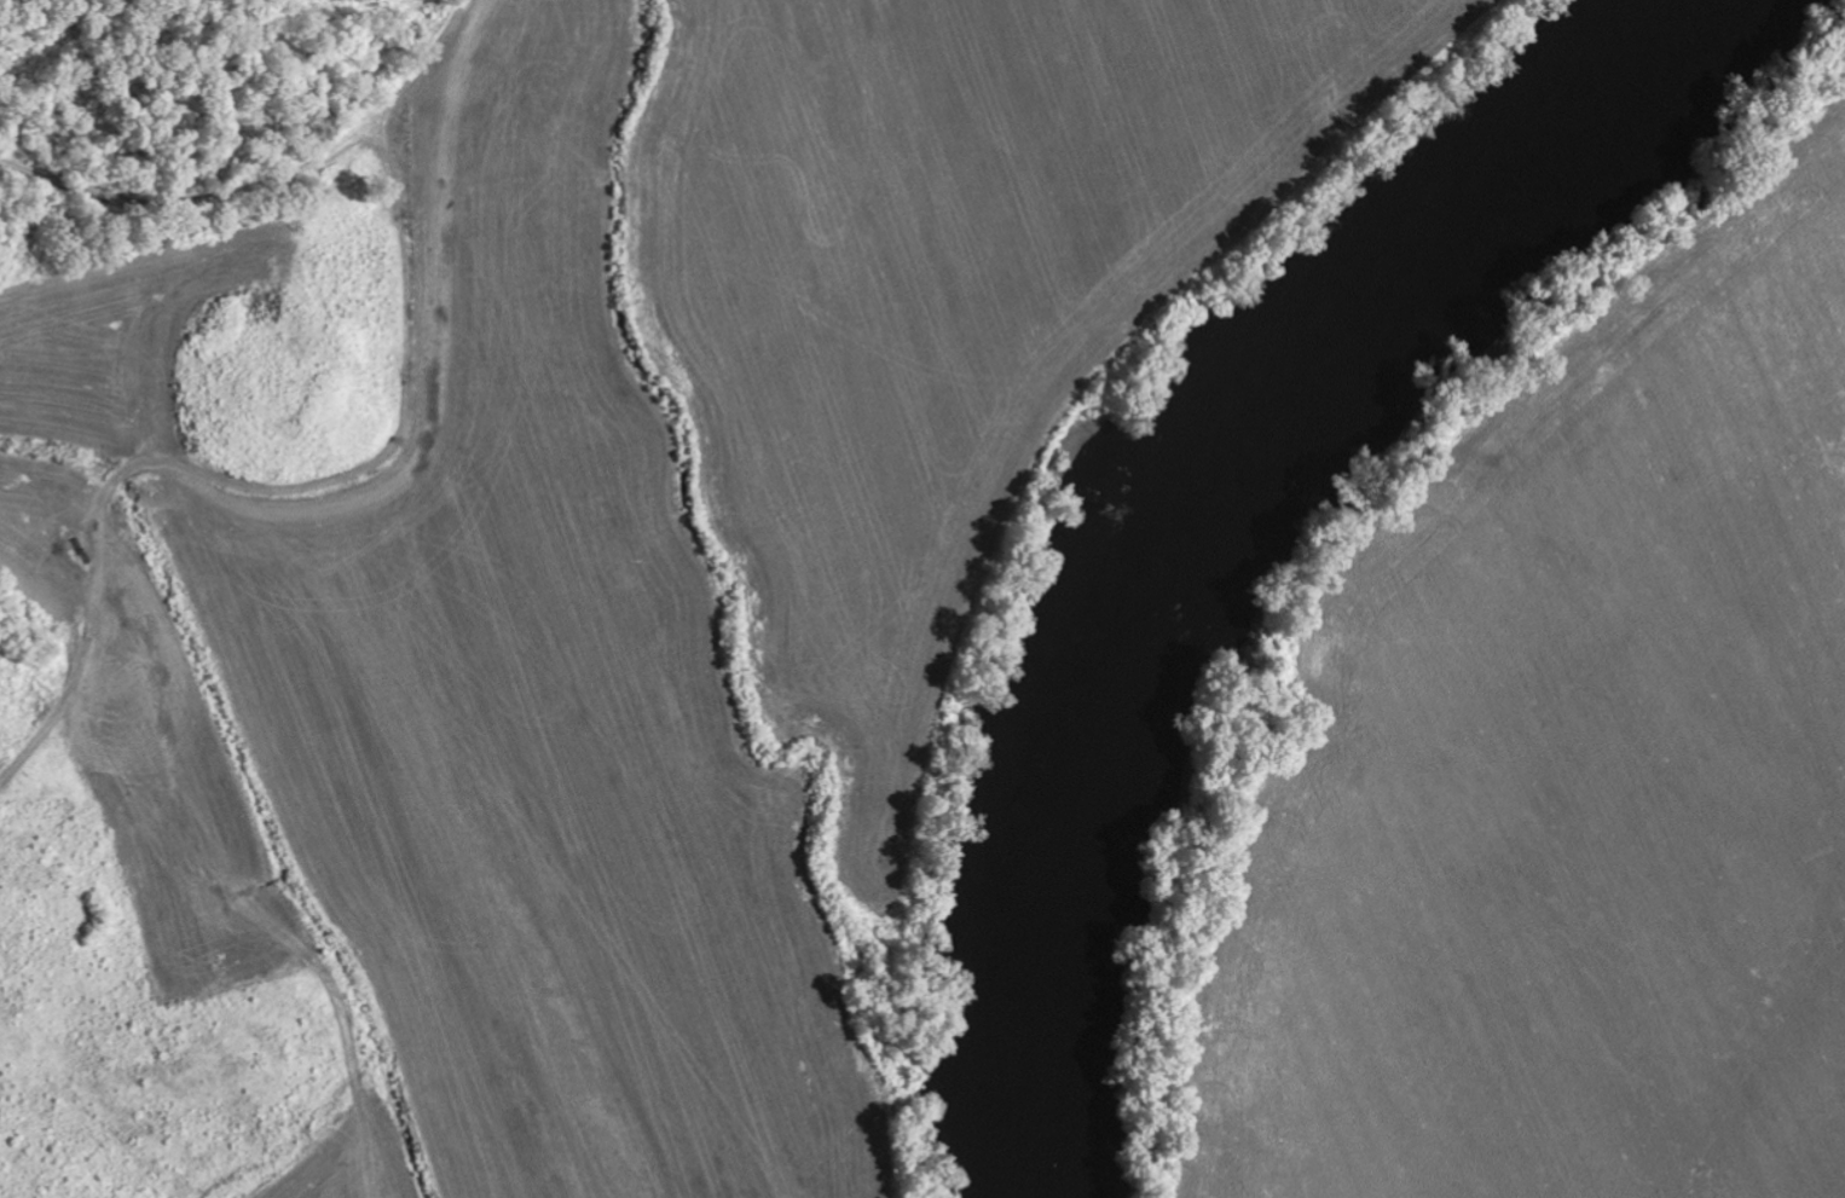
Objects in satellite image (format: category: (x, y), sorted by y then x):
road: (267, 185)
road: (250, 486)
river: (1191, 515)

